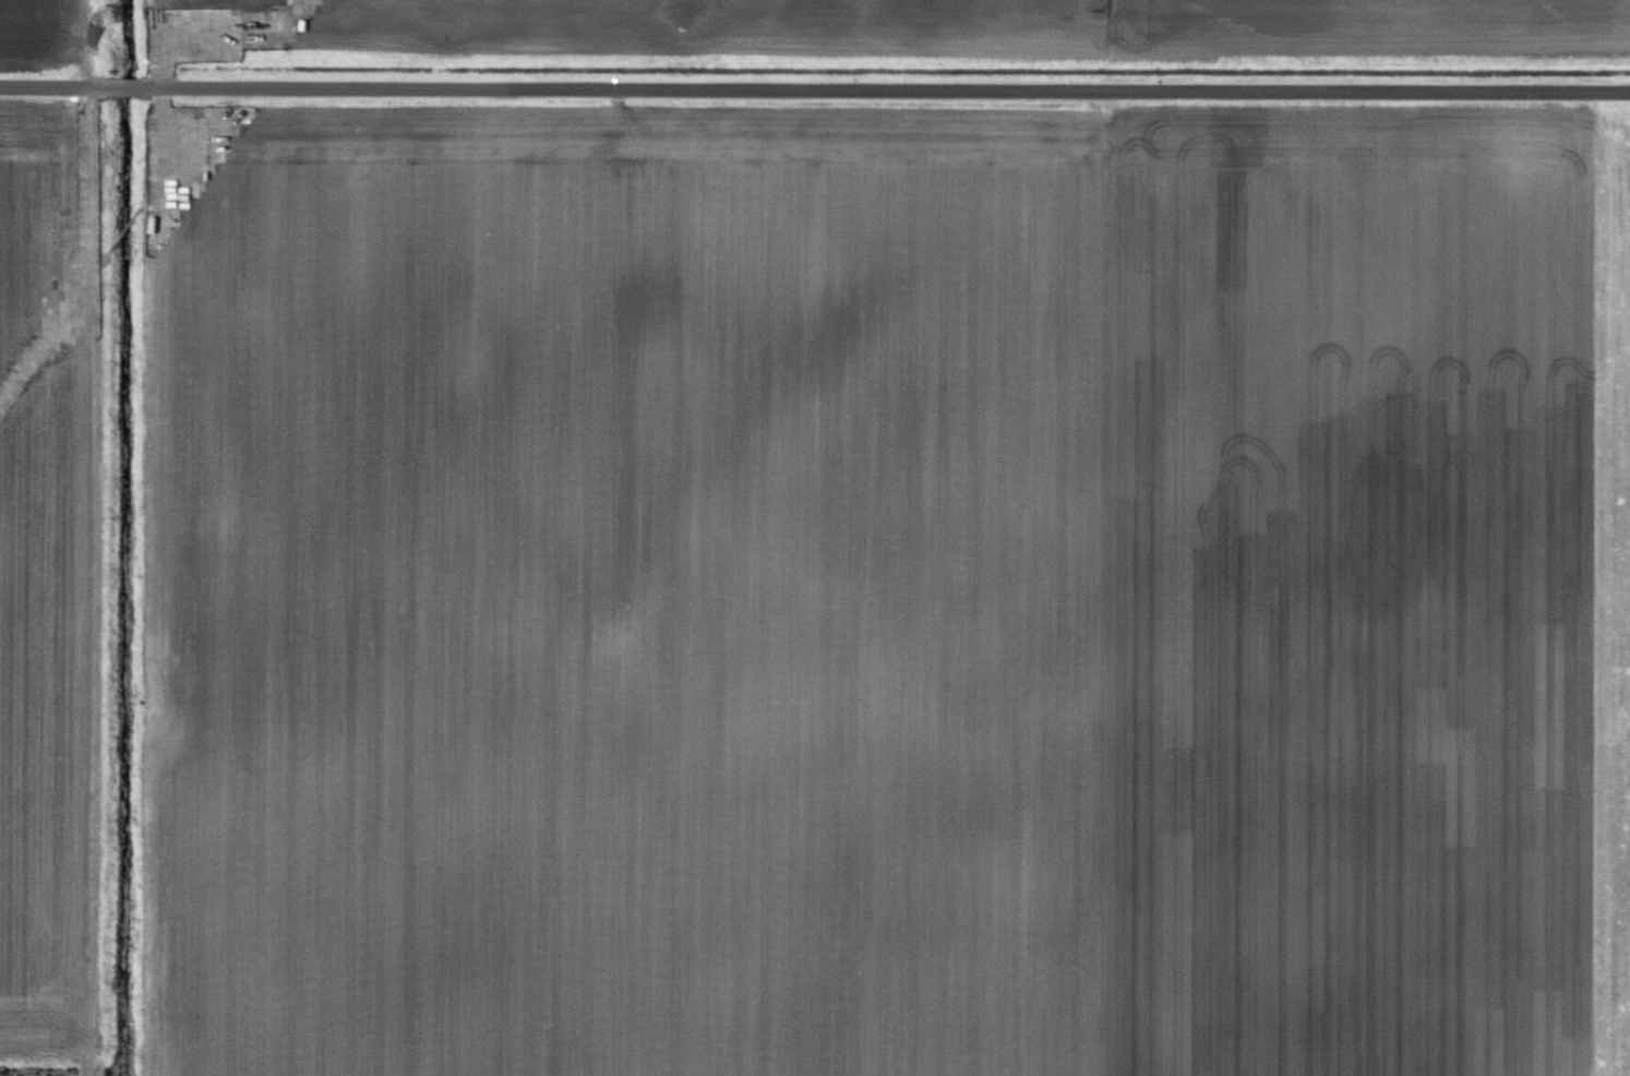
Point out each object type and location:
road: (815, 82)

